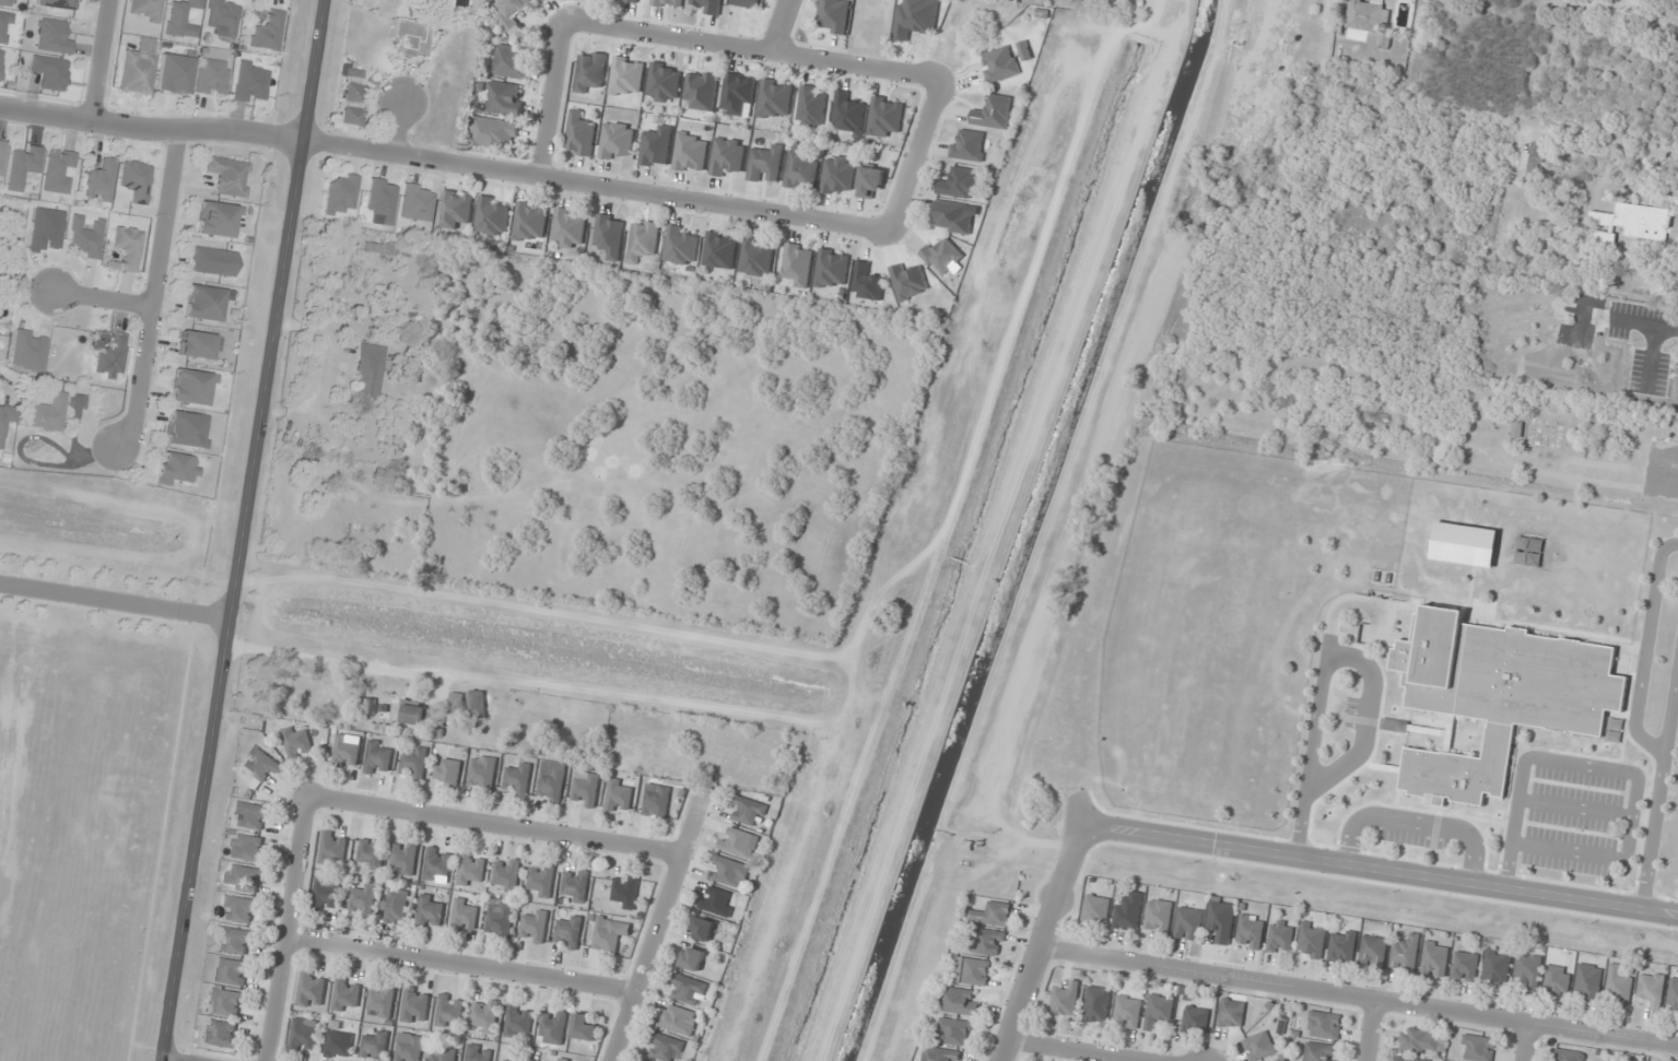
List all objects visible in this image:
building: (633, 0)
building: (7, 2)
building: (59, 3)
building: (427, 3)
building: (669, 3)
building: (748, 3)
building: (706, 5)
building: (513, 9)
building: (146, 10)
building: (1366, 14)
building: (834, 15)
building: (223, 16)
building: (916, 17)
building: (183, 19)
building: (4, 27)
road: (781, 27)
building: (268, 31)
building: (411, 36)
building: (54, 37)
road: (751, 51)
building: (1, 61)
road: (99, 61)
building: (512, 61)
building: (1000, 63)
building: (590, 71)
building: (50, 73)
building: (137, 73)
building: (175, 74)
building: (627, 76)
building: (212, 78)
building: (664, 83)
building: (701, 91)
building: (737, 95)
building: (351, 98)
building: (505, 98)
road: (553, 99)
building: (774, 99)
building: (811, 106)
building: (994, 111)
building: (847, 114)
building: (885, 117)
road: (399, 129)
building: (496, 132)
building: (580, 133)
building: (617, 141)
building: (967, 144)
building: (657, 146)
building: (691, 153)
building: (1, 156)
building: (727, 156)
road: (915, 156)
building: (1533, 163)
road: (445, 164)
building: (765, 165)
building: (23, 167)
building: (800, 168)
building: (59, 172)
building: (228, 176)
building: (838, 176)
building: (870, 180)
building: (101, 181)
building: (136, 181)
building: (959, 182)
building: (341, 193)
building: (383, 200)
building: (418, 203)
building: (456, 210)
building: (492, 215)
building: (953, 217)
building: (216, 220)
building: (530, 222)
building: (1628, 224)
building: (568, 228)
building: (609, 235)
building: (86, 238)
building: (643, 240)
building: (681, 245)
building: (127, 249)
building: (387, 249)
building: (720, 250)
building: (941, 256)
building: (756, 257)
building: (212, 262)
building: (797, 264)
building: (832, 269)
building: (2, 279)
building: (868, 282)
building: (910, 282)
road: (156, 293)
road: (105, 299)
building: (202, 303)
building: (196, 345)
building: (28, 351)
building: (108, 355)
building: (368, 373)
building: (190, 388)
building: (47, 414)
building: (3, 425)
building: (186, 429)
building: (177, 470)
building: (339, 497)
road: (243, 530)
building: (1465, 544)
building: (1529, 551)
road: (115, 600)
road: (1641, 688)
road: (1323, 695)
building: (1499, 695)
building: (477, 704)
building: (371, 706)
building: (420, 716)
road: (1368, 720)
building: (1396, 726)
building: (1616, 730)
building: (297, 742)
building: (347, 751)
building: (378, 758)
road: (1557, 761)
building: (260, 764)
building: (414, 764)
building: (447, 773)
building: (482, 773)
building: (517, 780)
building: (551, 781)
building: (585, 789)
building: (619, 795)
building: (657, 801)
road: (1575, 806)
building: (748, 812)
building: (250, 816)
road: (1417, 821)
road: (495, 825)
road: (1655, 832)
building: (738, 842)
building: (247, 848)
building: (333, 849)
road: (1570, 850)
building: (372, 853)
building: (403, 858)
building: (438, 864)
building: (472, 870)
road: (1381, 871)
building: (729, 872)
building: (508, 874)
building: (243, 879)
building: (540, 881)
building: (575, 885)
building: (625, 891)
building: (363, 900)
building: (716, 901)
building: (398, 906)
building: (239, 909)
building: (1096, 910)
building: (430, 912)
building: (1128, 912)
building: (991, 915)
building: (463, 916)
building: (1158, 916)
building: (500, 920)
building: (1221, 921)
building: (1188, 923)
road: (658, 924)
building: (535, 927)
road: (290, 928)
building: (702, 929)
building: (568, 932)
building: (1251, 932)
building: (609, 934)
building: (1280, 939)
building: (1312, 940)
road: (1040, 941)
building: (988, 942)
building: (1342, 946)
building: (1373, 952)
building: (1405, 953)
building: (692, 958)
building: (1434, 959)
building: (1465, 966)
road: (461, 967)
building: (1497, 967)
building: (1528, 970)
building: (233, 971)
building: (972, 971)
building: (1557, 980)
building: (1588, 982)
building: (1618, 987)
building: (687, 989)
building: (1652, 989)
building: (312, 990)
road: (1357, 997)
building: (1673, 997)
building: (382, 1001)
building: (959, 1001)
building: (1065, 1001)
building: (226, 1002)
building: (1098, 1004)
building: (415, 1005)
building: (449, 1011)
building: (1158, 1011)
building: (1127, 1012)
building: (1231, 1014)
building: (485, 1016)
building: (678, 1019)
building: (1196, 1021)
building: (518, 1022)
building: (1324, 1025)
building: (553, 1027)
building: (584, 1028)
road: (1368, 1029)
building: (953, 1031)
building: (221, 1034)
building: (305, 1035)
building: (1423, 1041)
road: (1527, 1041)
building: (339, 1045)
building: (375, 1046)
building: (1258, 1046)
building: (665, 1047)
road: (1082, 1048)
building: (1478, 1048)
building: (410, 1050)
building: (1319, 1052)
building: (443, 1053)
building: (478, 1053)
building: (938, 1054)
building: (1569, 1056)
building: (563, 1059)
building: (1409, 1059)
building: (504, 1060)

